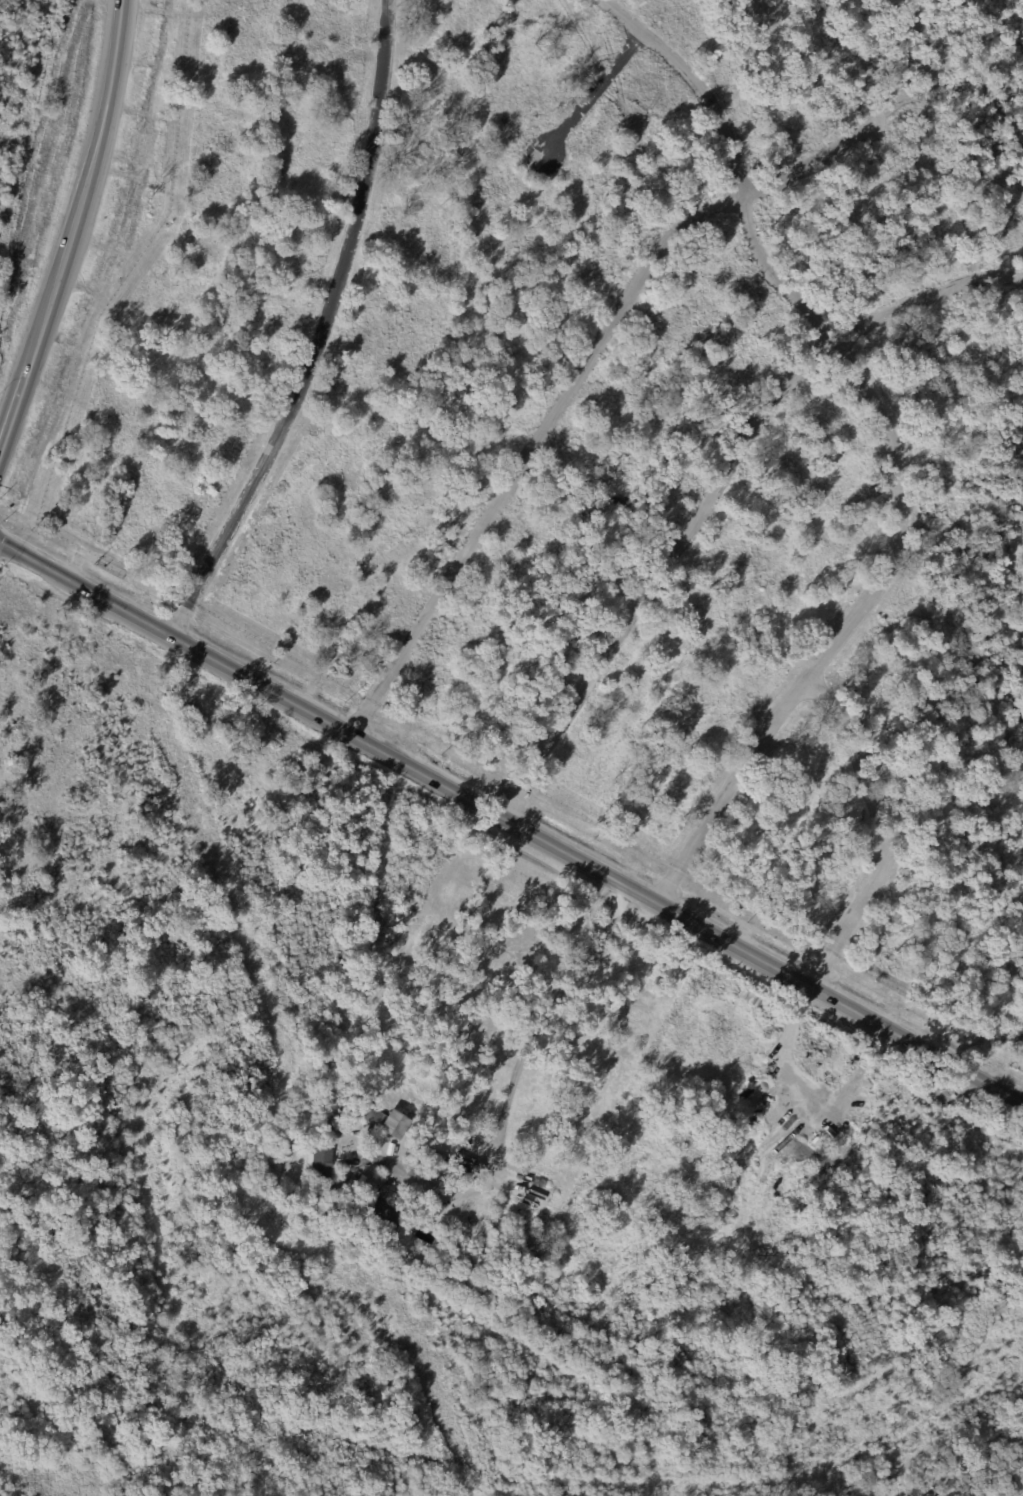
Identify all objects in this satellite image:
road: (592, 92)
airport: (19, 96)
road: (806, 164)
road: (80, 201)
road: (321, 333)
road: (7, 418)
road: (892, 438)
road: (530, 451)
road: (718, 490)
road: (511, 824)
road: (884, 829)
building: (820, 1047)
road: (511, 1084)
building: (378, 1118)
building: (326, 1121)
building: (319, 1163)
building: (380, 1211)
building: (456, 1284)

